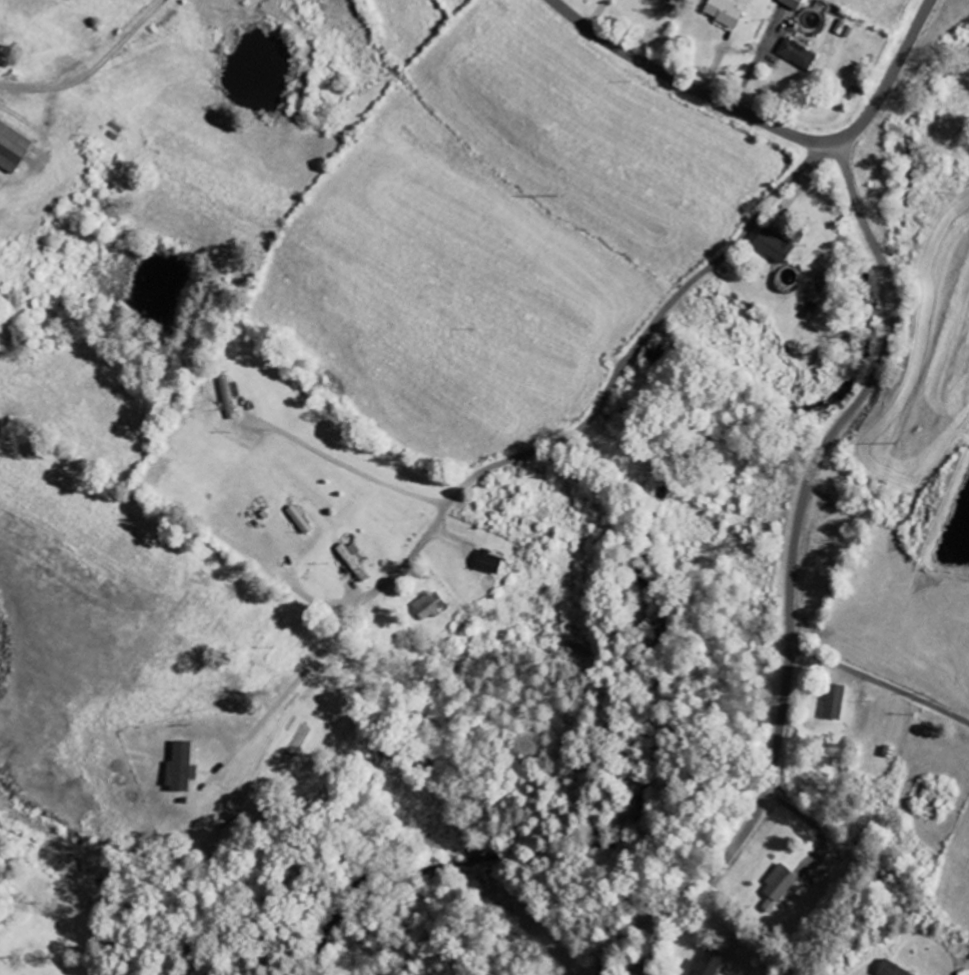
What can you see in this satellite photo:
building: (793, 4)
building: (724, 13)
building: (852, 52)
building: (798, 54)
road: (766, 125)
building: (13, 149)
building: (774, 246)
building: (655, 355)
road: (607, 395)
building: (227, 397)
road: (355, 466)
building: (299, 518)
building: (352, 560)
building: (488, 562)
road: (799, 578)
building: (429, 606)
road: (884, 685)
building: (834, 702)
building: (183, 767)
building: (778, 884)
building: (707, 964)
building: (893, 970)

